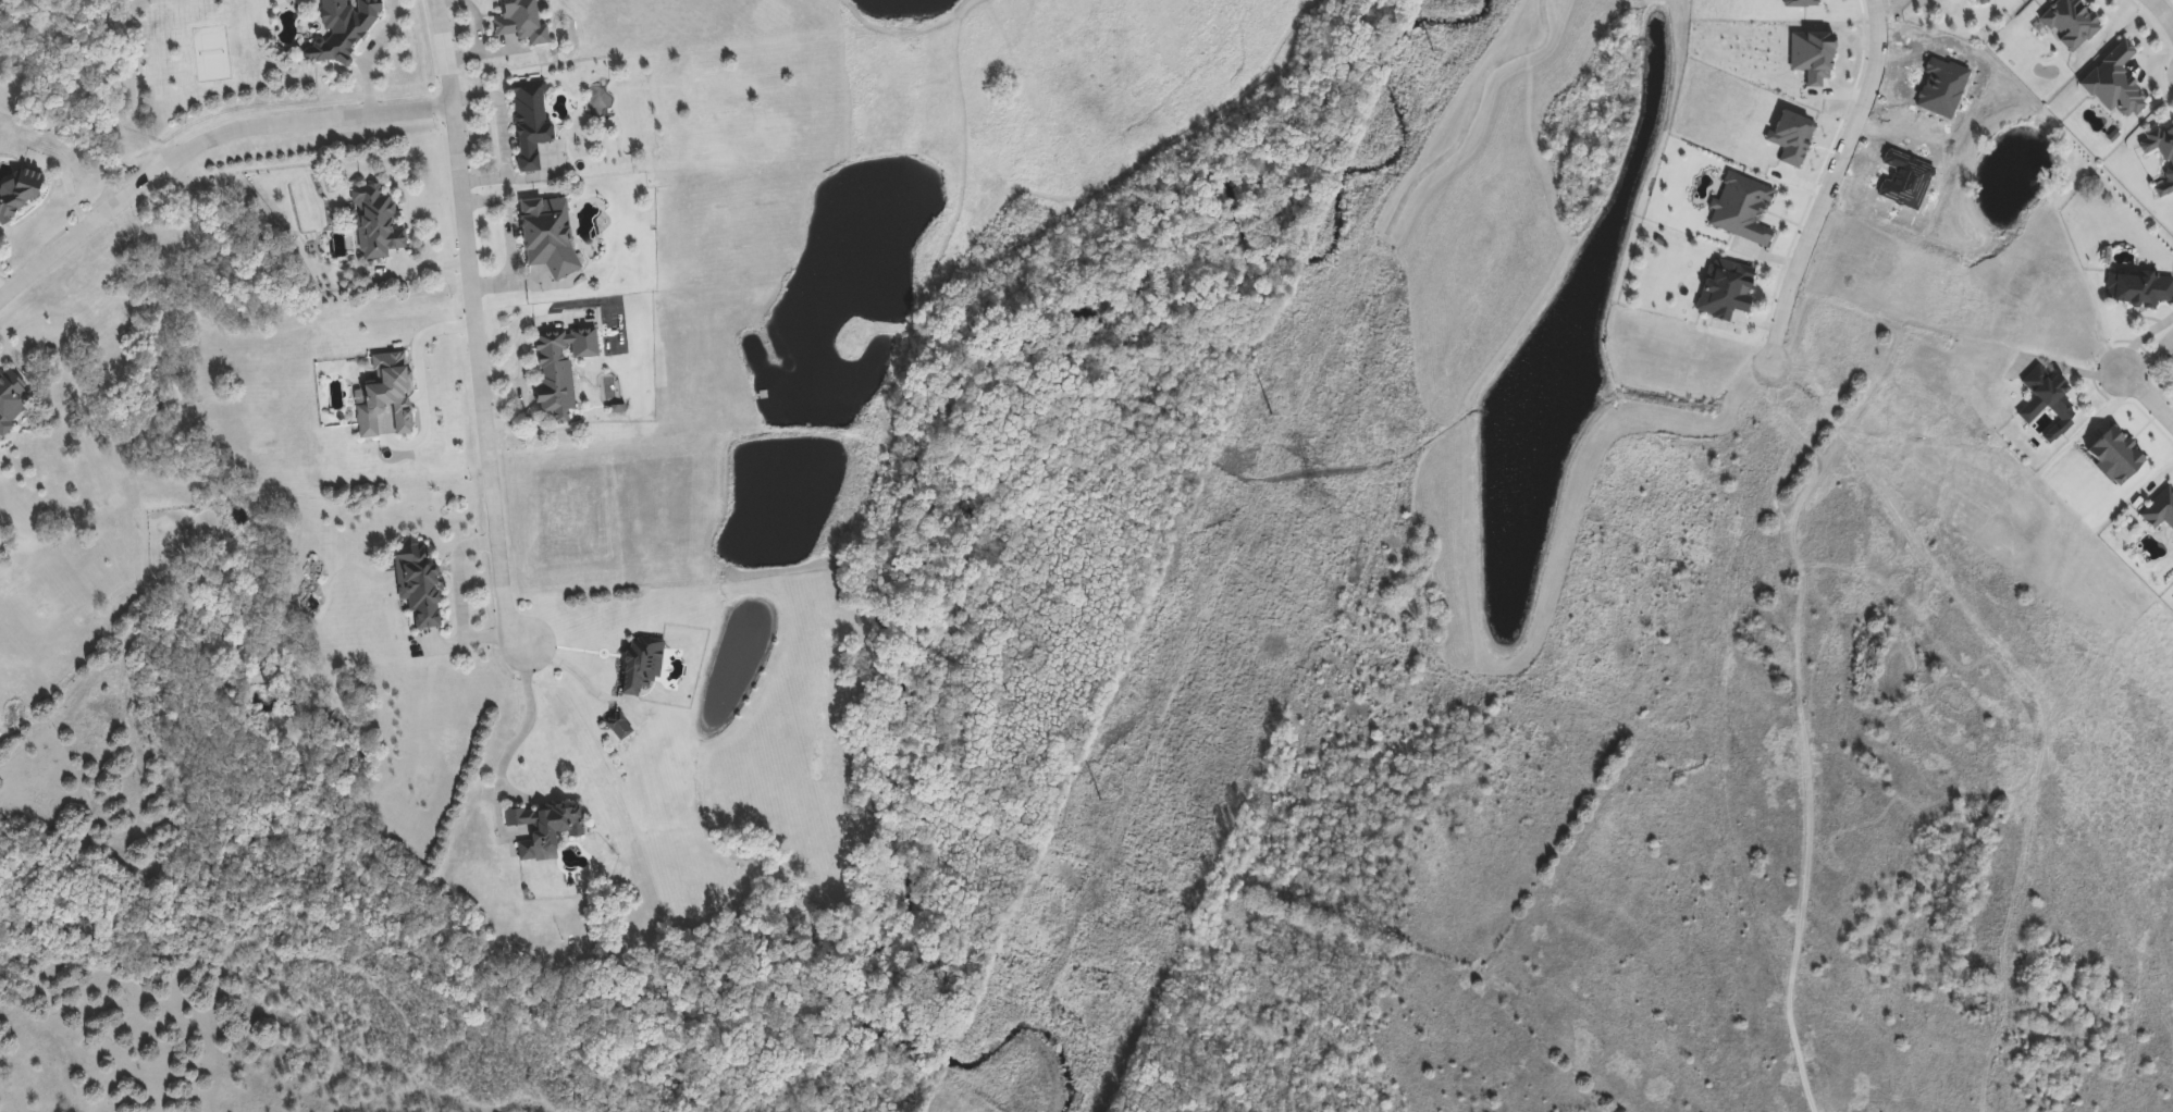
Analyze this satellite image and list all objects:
road: (2161, 15)
building: (523, 23)
building: (2069, 23)
building: (341, 29)
road: (441, 51)
road: (371, 53)
building: (2112, 83)
building: (532, 123)
road: (507, 134)
road: (201, 140)
building: (2161, 157)
road: (1827, 185)
building: (18, 194)
building: (376, 223)
building: (551, 237)
road: (510, 242)
road: (3, 284)
building: (2137, 288)
building: (1721, 289)
road: (418, 372)
road: (498, 373)
building: (557, 374)
road: (518, 376)
road: (481, 381)
road: (2149, 394)
building: (387, 397)
building: (13, 400)
building: (2045, 401)
power tower: (1269, 425)
power tower: (1309, 494)
building: (420, 583)
road: (461, 605)
building: (644, 667)
road: (581, 680)
road: (529, 724)
power tower: (1100, 805)
building: (545, 830)
building: (1976, 994)

